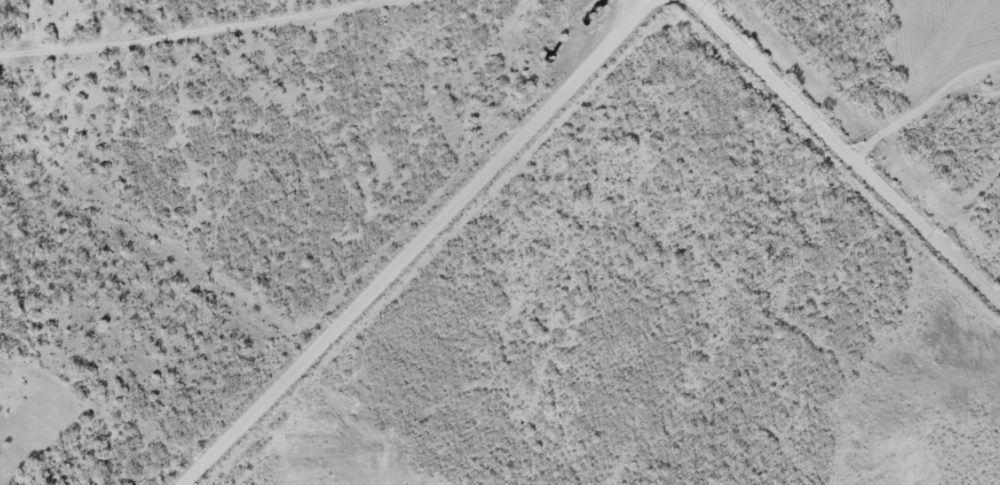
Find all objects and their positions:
road: (663, 2)
road: (845, 51)
road: (586, 84)

